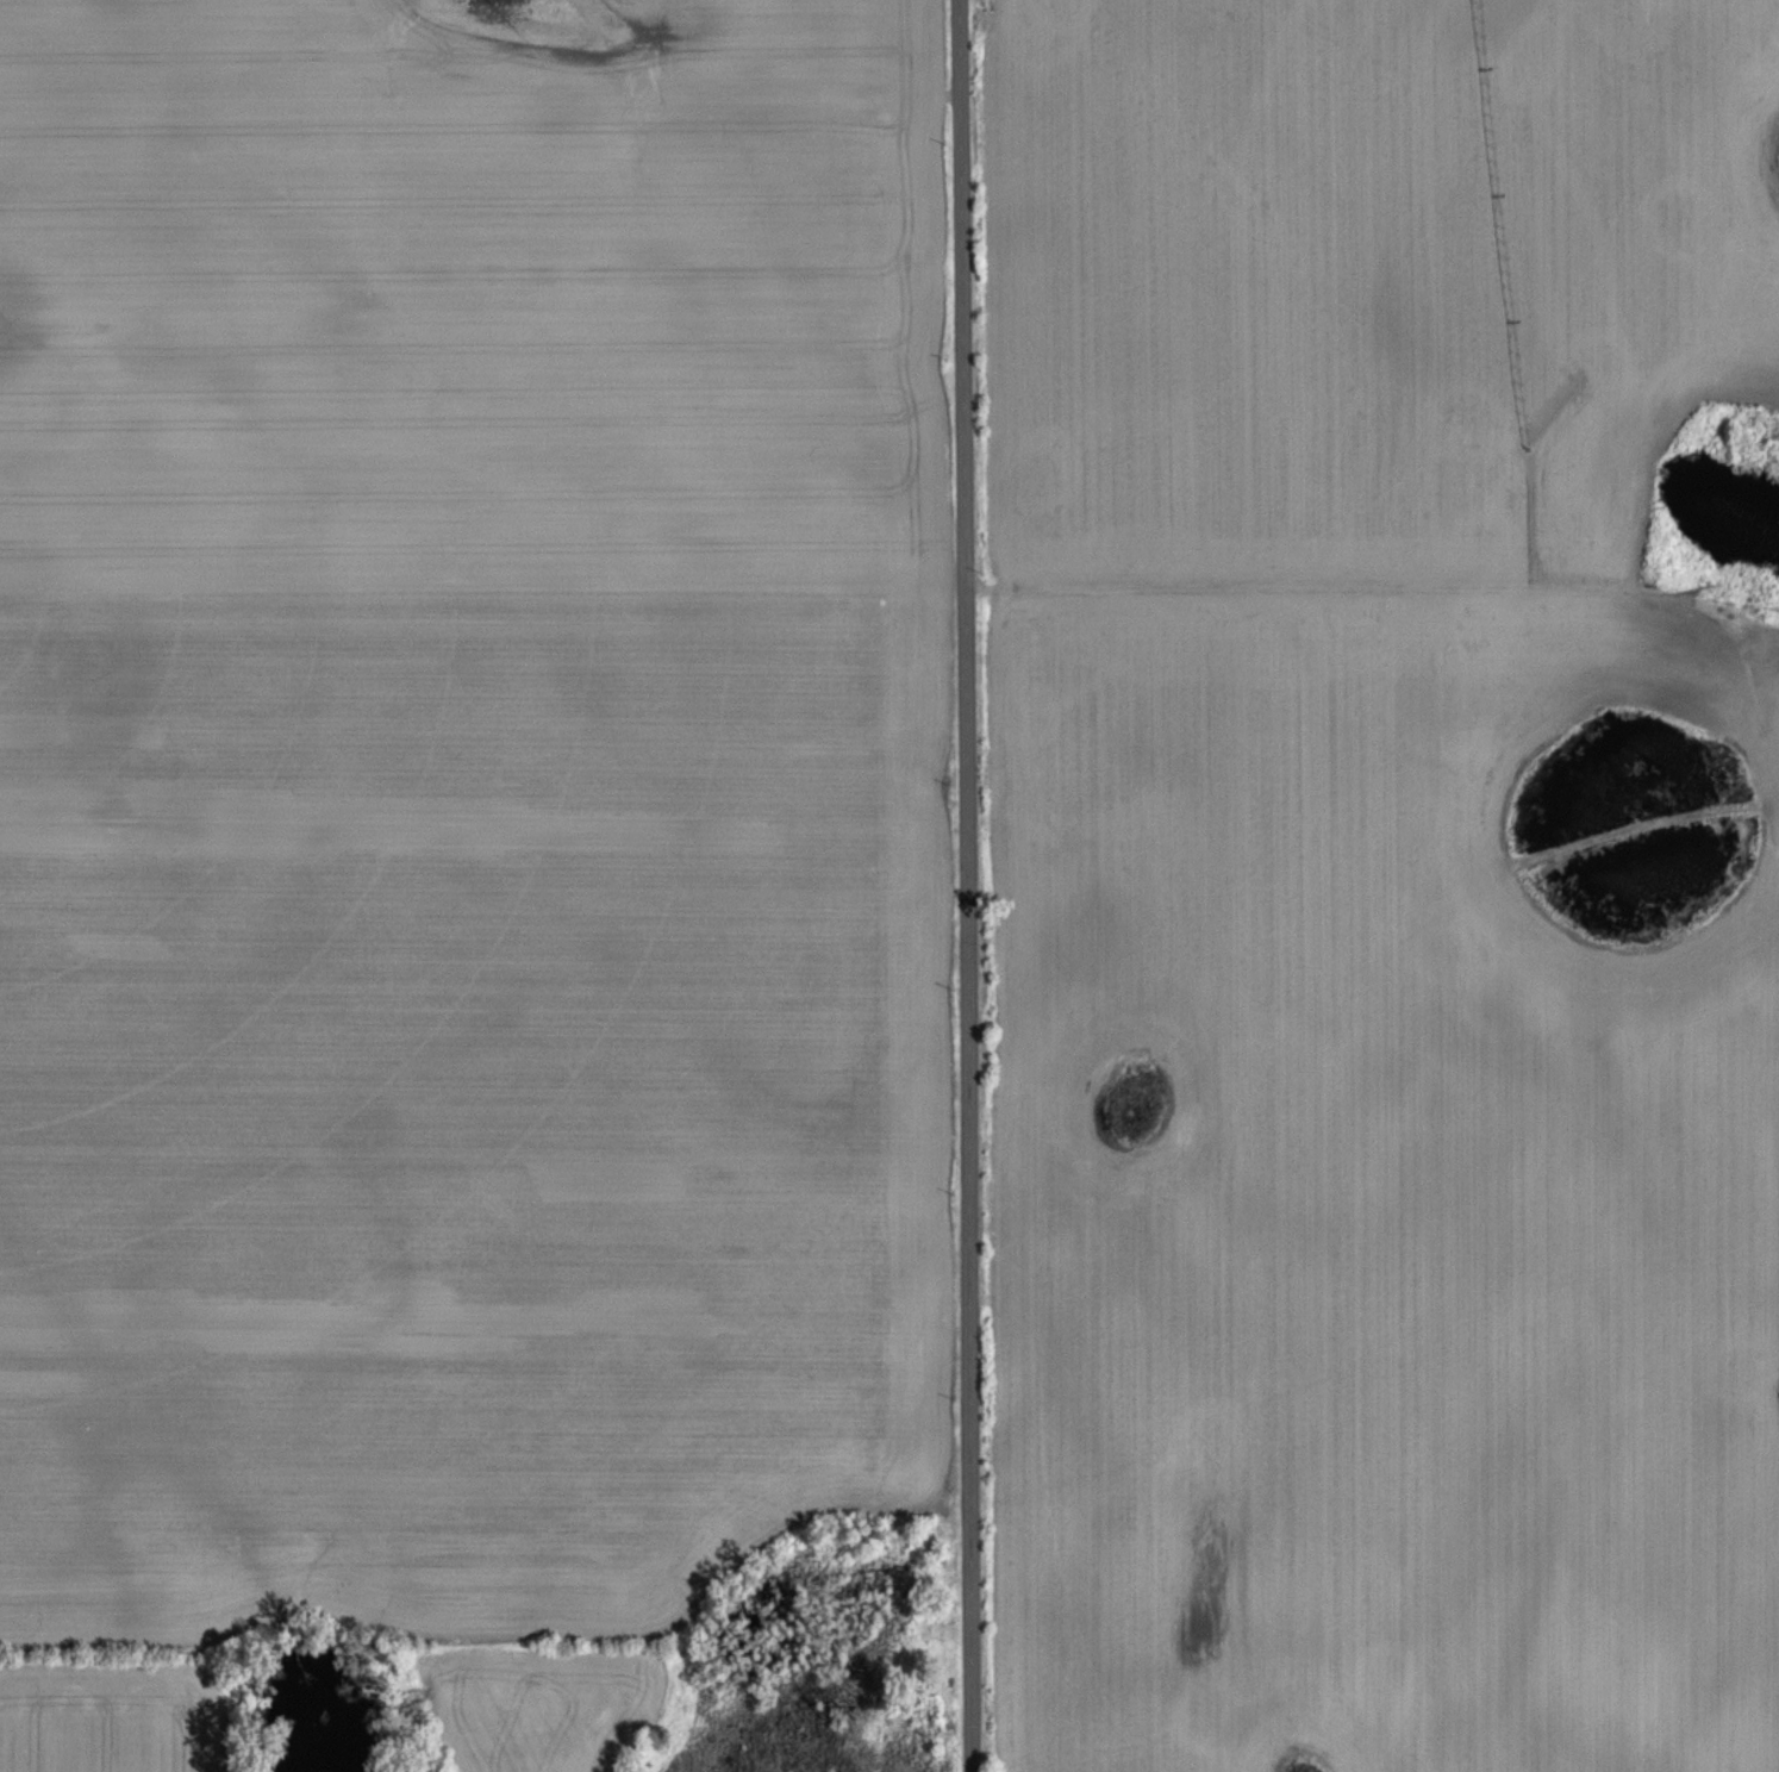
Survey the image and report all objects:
road: (959, 886)

